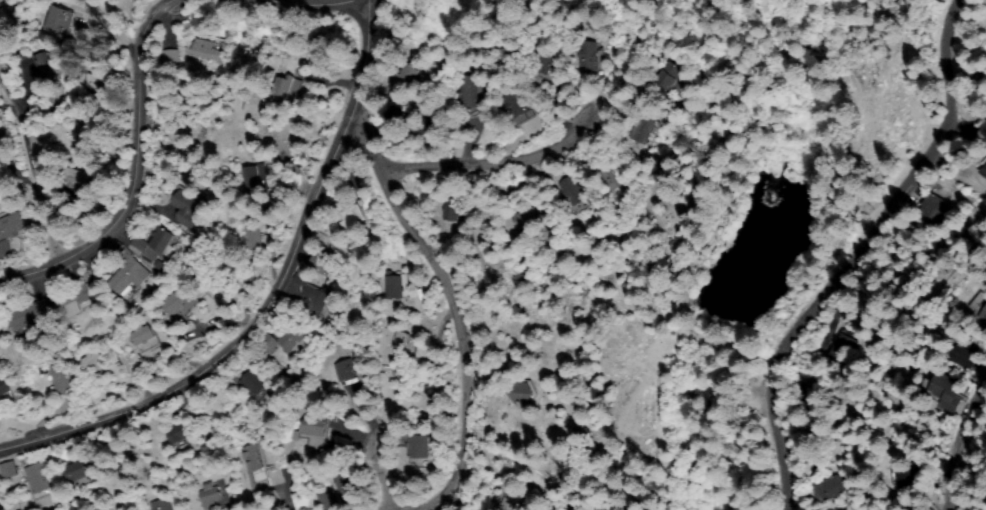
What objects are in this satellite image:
road: (355, 0)
building: (58, 22)
building: (205, 48)
building: (169, 58)
building: (591, 58)
building: (548, 63)
building: (319, 64)
building: (45, 65)
building: (668, 75)
building: (408, 76)
building: (92, 82)
building: (282, 86)
building: (470, 94)
building: (522, 107)
building: (395, 115)
building: (432, 122)
building: (644, 130)
road: (482, 159)
road: (32, 168)
building: (982, 169)
road: (137, 174)
building: (253, 177)
building: (610, 178)
building: (77, 179)
building: (573, 194)
building: (187, 206)
building: (450, 209)
building: (929, 210)
building: (524, 219)
building: (352, 221)
building: (11, 226)
building: (255, 237)
building: (157, 245)
building: (3, 250)
road: (848, 253)
building: (325, 263)
building: (216, 271)
building: (129, 276)
building: (395, 288)
road: (267, 297)
building: (74, 300)
building: (317, 300)
building: (181, 303)
building: (28, 315)
building: (983, 316)
road: (428, 319)
building: (144, 335)
building: (294, 336)
building: (266, 343)
building: (403, 344)
building: (838, 349)
building: (962, 354)
building: (94, 358)
building: (348, 372)
building: (814, 377)
building: (62, 379)
road: (737, 381)
building: (256, 383)
building: (5, 386)
building: (943, 392)
building: (520, 394)
building: (814, 412)
building: (315, 426)
building: (179, 432)
road: (953, 437)
building: (419, 447)
building: (252, 459)
road: (377, 465)
building: (9, 466)
building: (77, 471)
building: (906, 477)
building: (37, 478)
building: (345, 484)
building: (823, 488)
building: (211, 498)
building: (326, 500)
building: (513, 500)
building: (160, 505)

